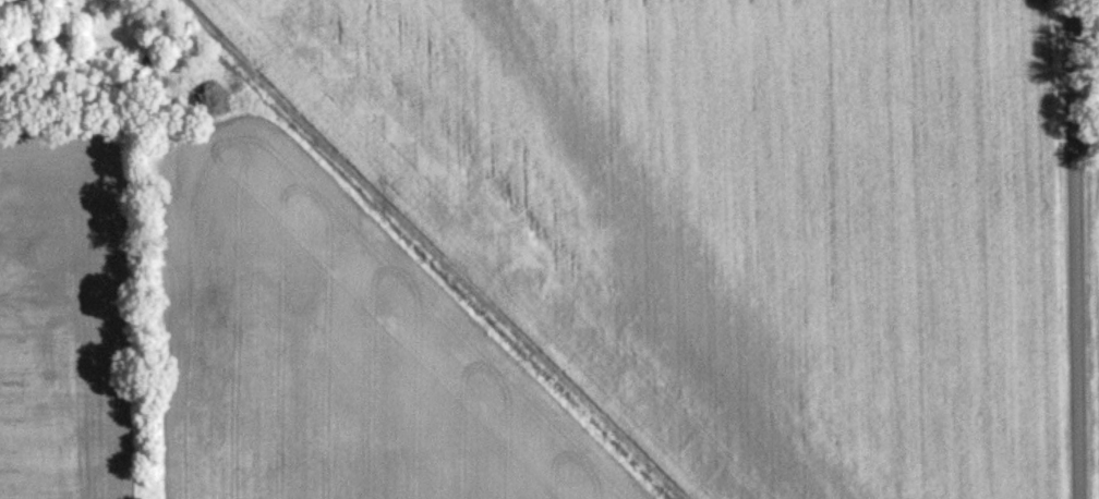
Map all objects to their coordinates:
road: (1073, 249)

